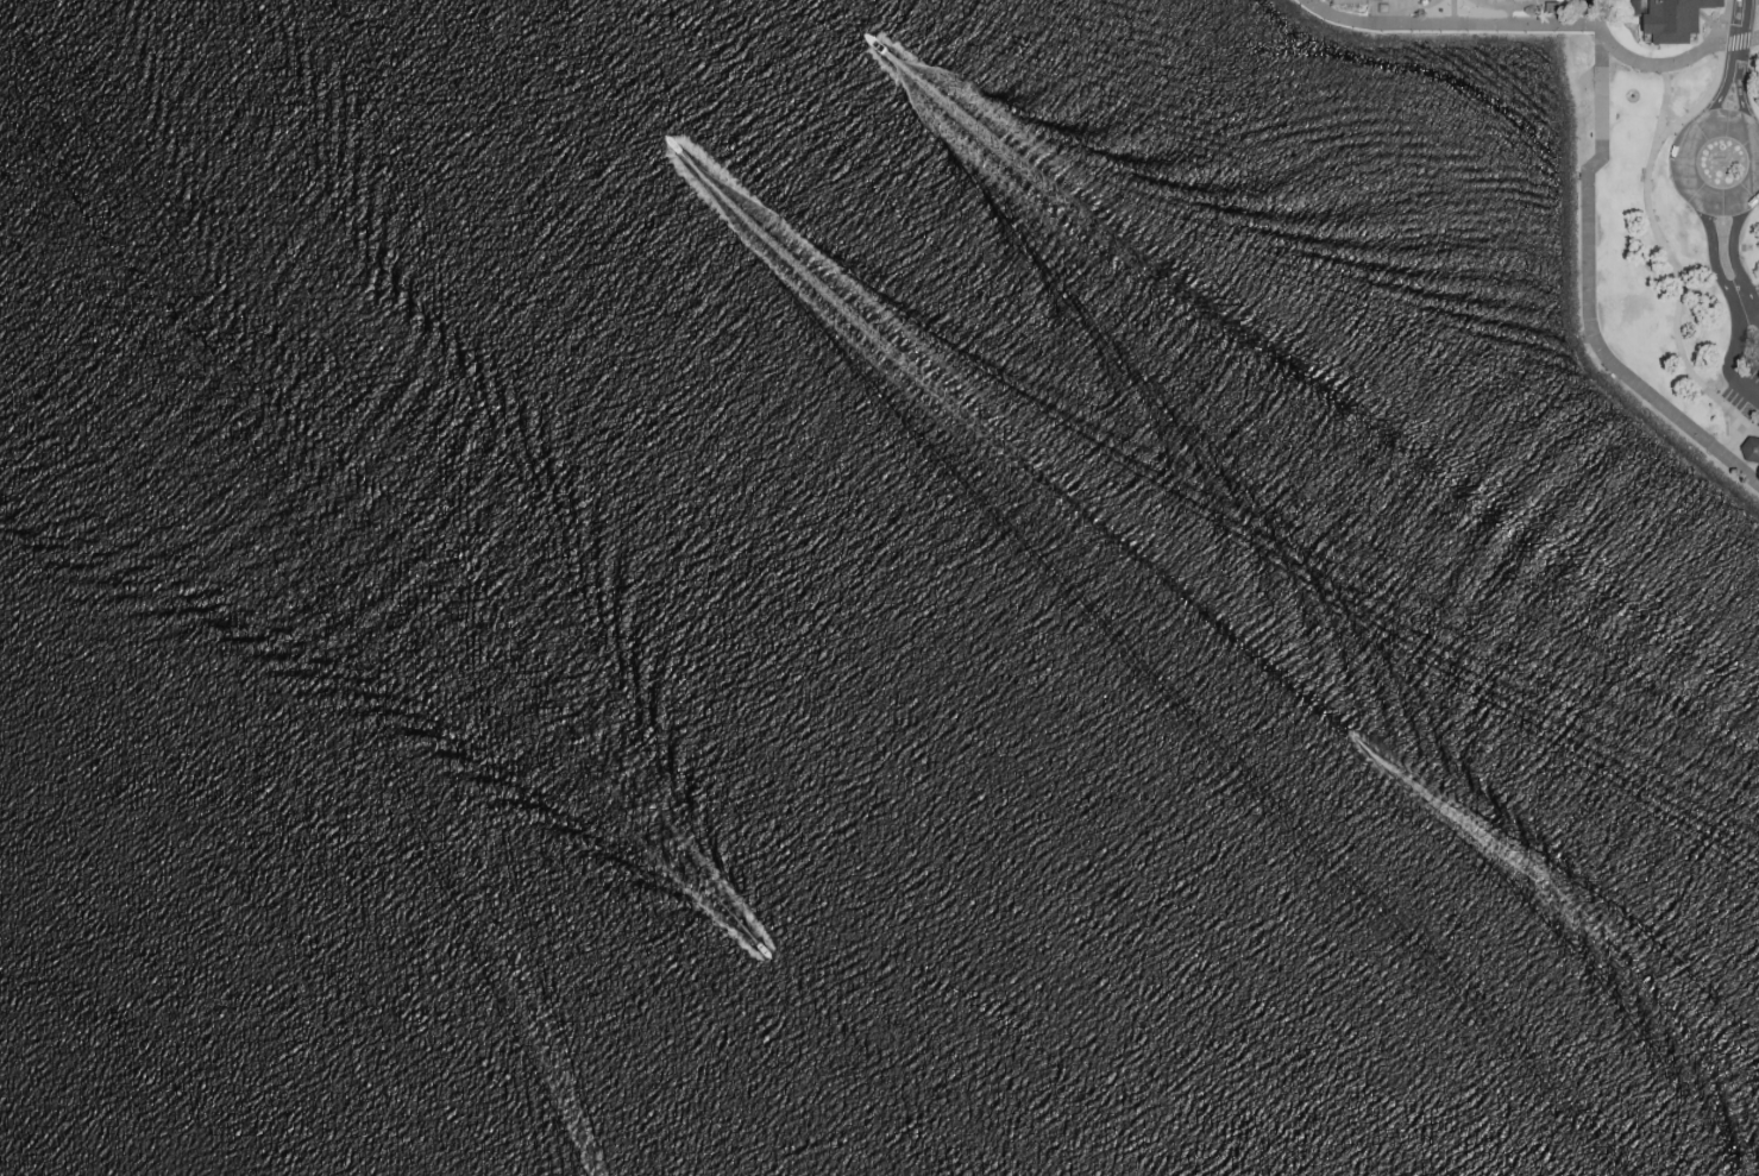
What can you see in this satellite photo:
building: (1403, 1)
building: (1350, 2)
road: (1757, 5)
road: (1510, 8)
road: (1452, 13)
road: (1395, 17)
road: (1510, 18)
building: (1673, 20)
road: (1723, 24)
road: (1539, 27)
road: (1739, 33)
road: (1717, 101)
road: (1702, 103)
road: (1745, 112)
road: (1716, 203)
road: (1732, 238)
park: (1673, 244)
road: (1673, 266)
road: (1721, 284)
parking lot: (1757, 295)
road: (1587, 298)
road: (1751, 307)
road: (1747, 391)
parking lot: (1745, 395)
road: (1736, 445)
building: (1752, 452)

